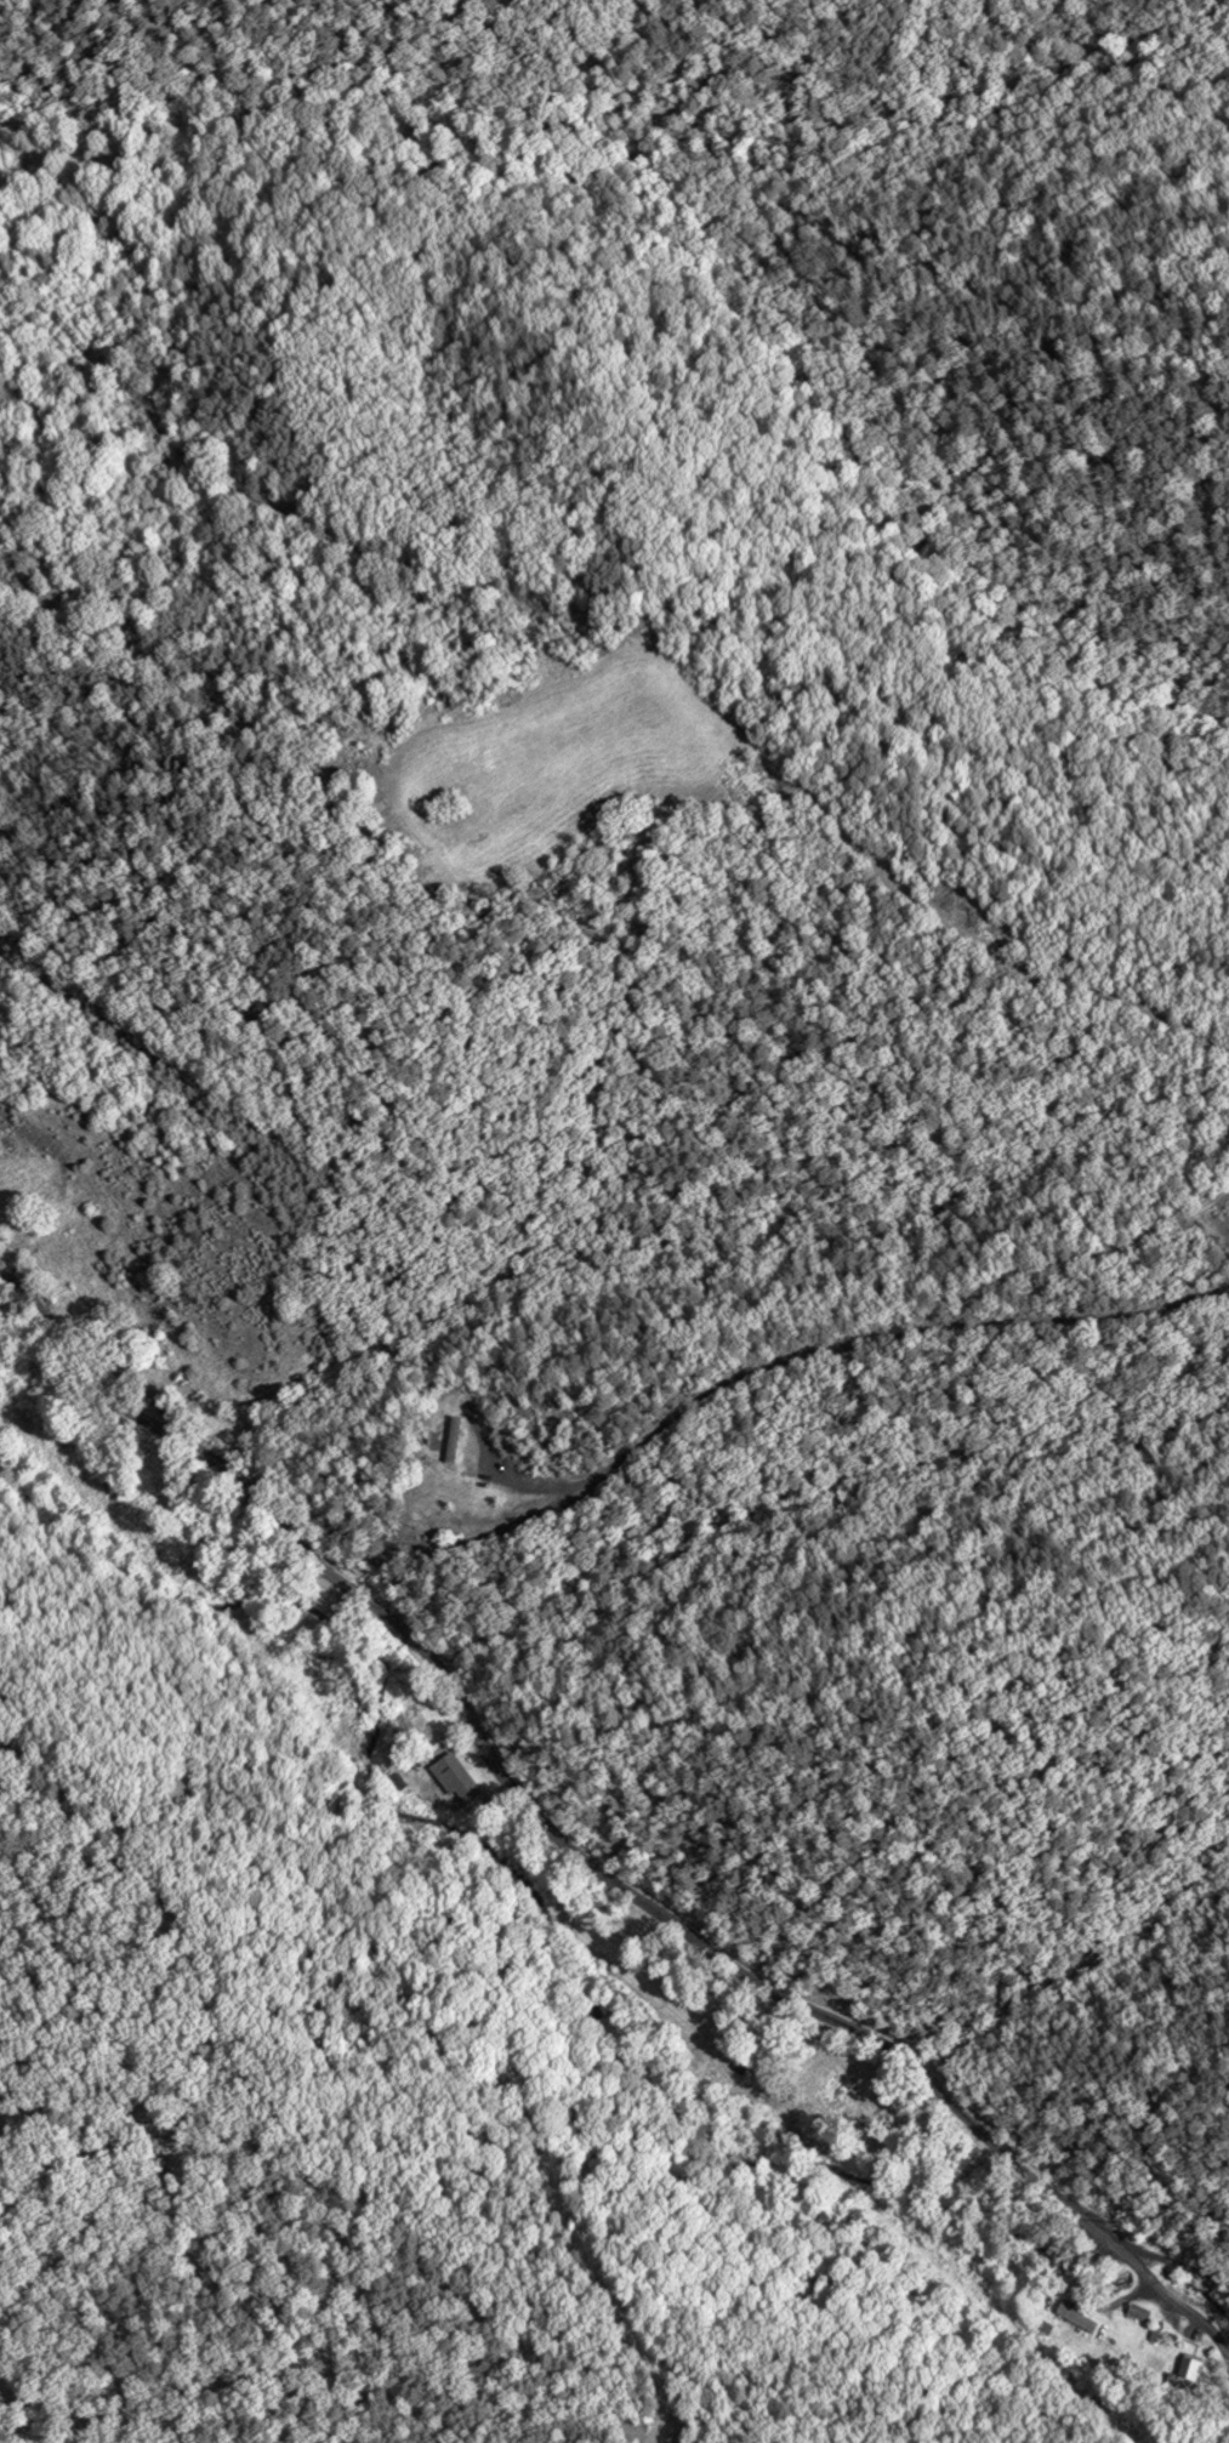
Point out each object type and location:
building: (113, 1349)
road: (746, 1372)
building: (457, 1779)
road: (577, 1852)
building: (830, 2094)
building: (1069, 2311)
building: (1185, 2373)

